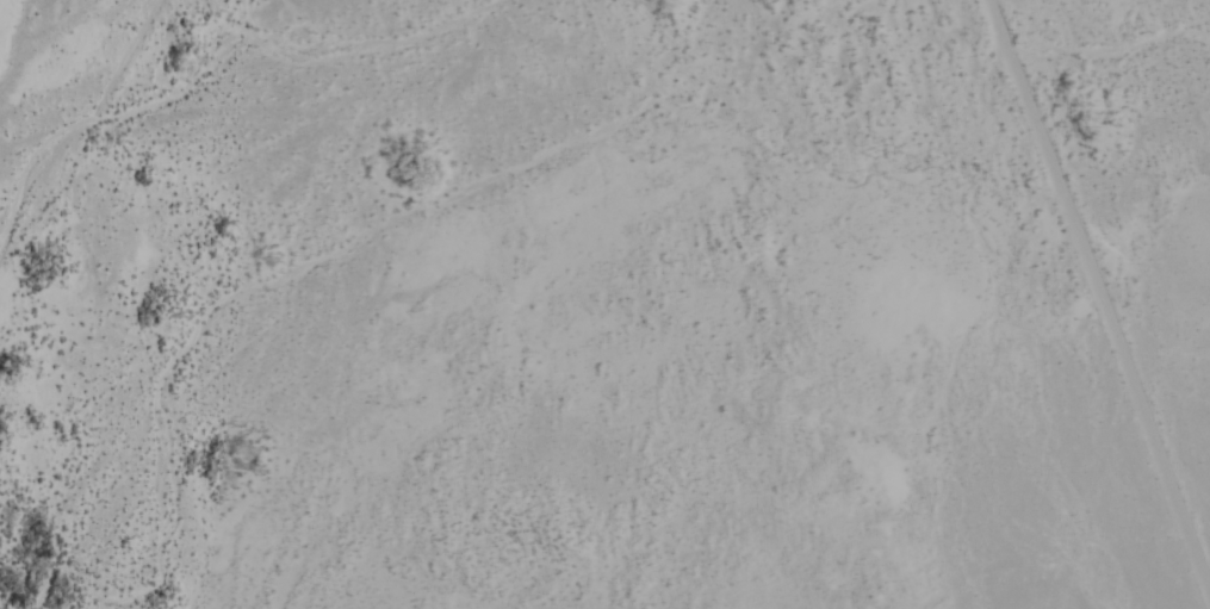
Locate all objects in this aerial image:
road: (1098, 302)

